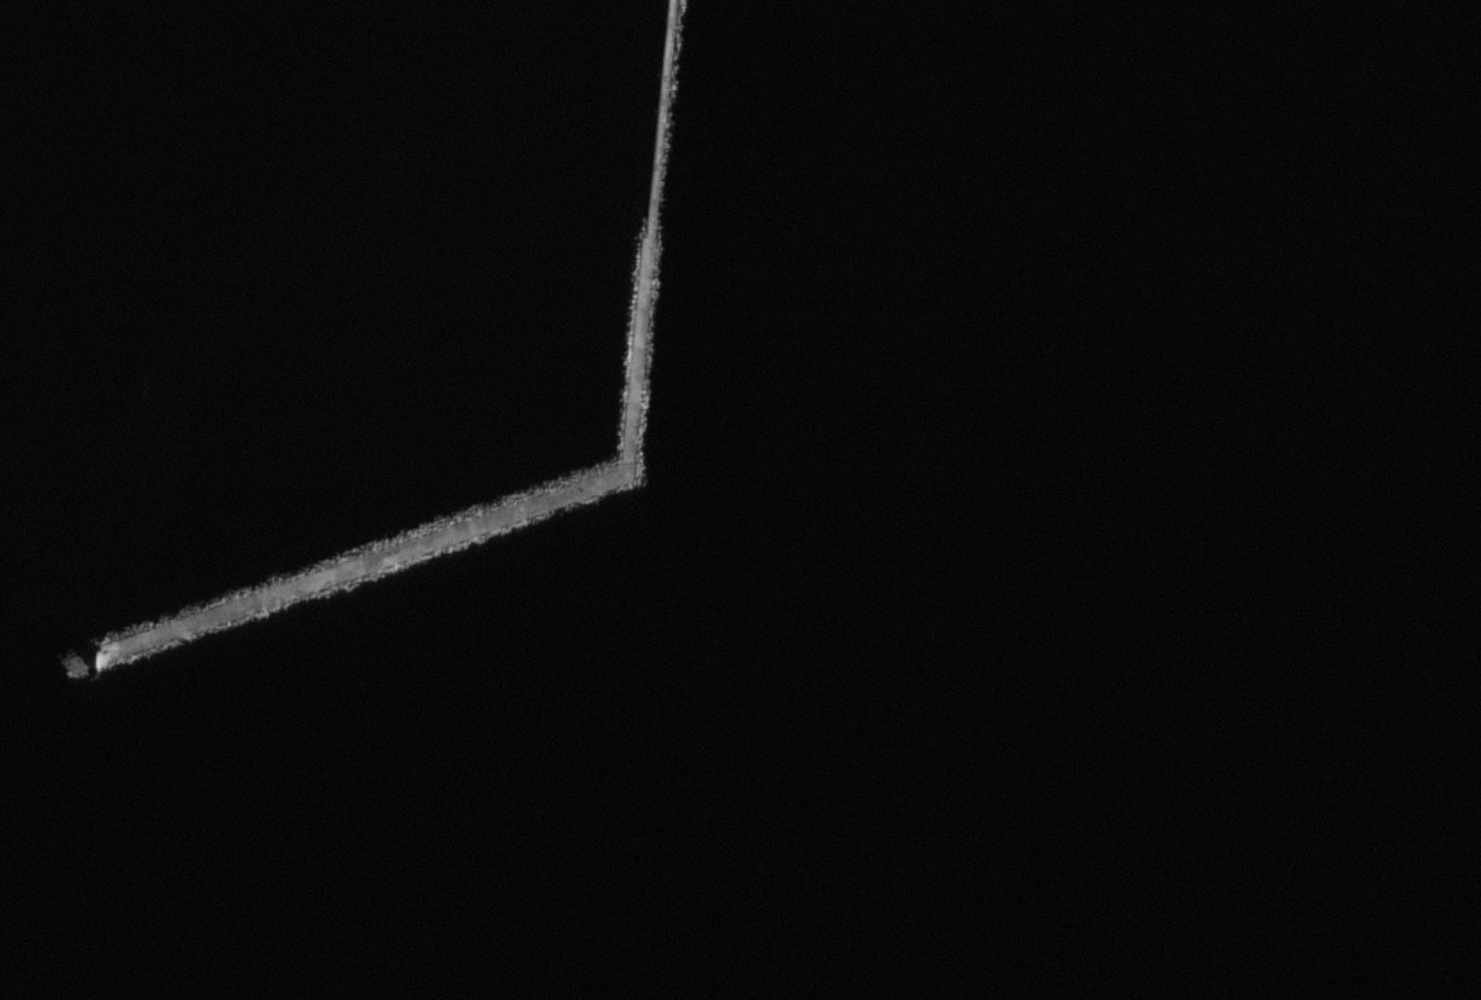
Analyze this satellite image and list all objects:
park: (652, 224)
road: (590, 482)
lighthouse: (92, 655)

